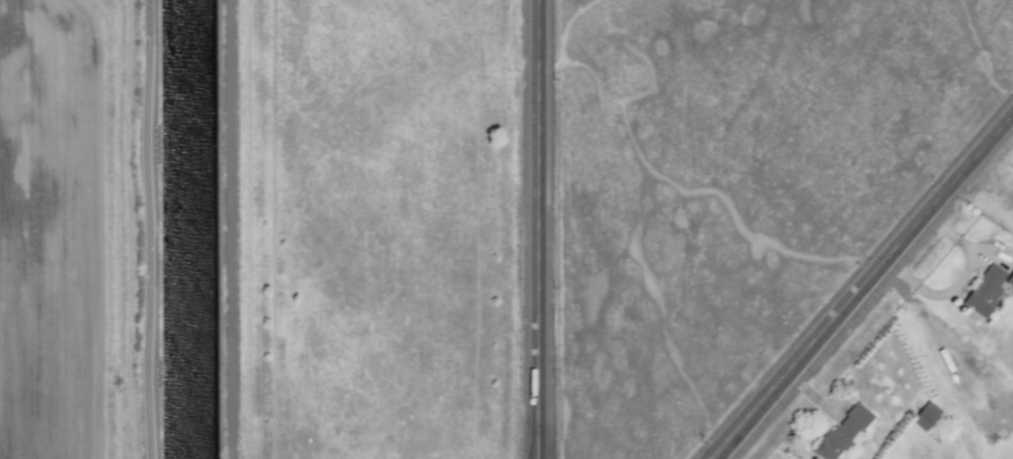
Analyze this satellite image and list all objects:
crop: (992, 163)
crop: (378, 227)
road: (154, 229)
road: (235, 229)
road: (542, 229)
building: (1009, 280)
road: (863, 287)
building: (984, 292)
building: (925, 416)
crop: (1004, 417)
building: (842, 433)

